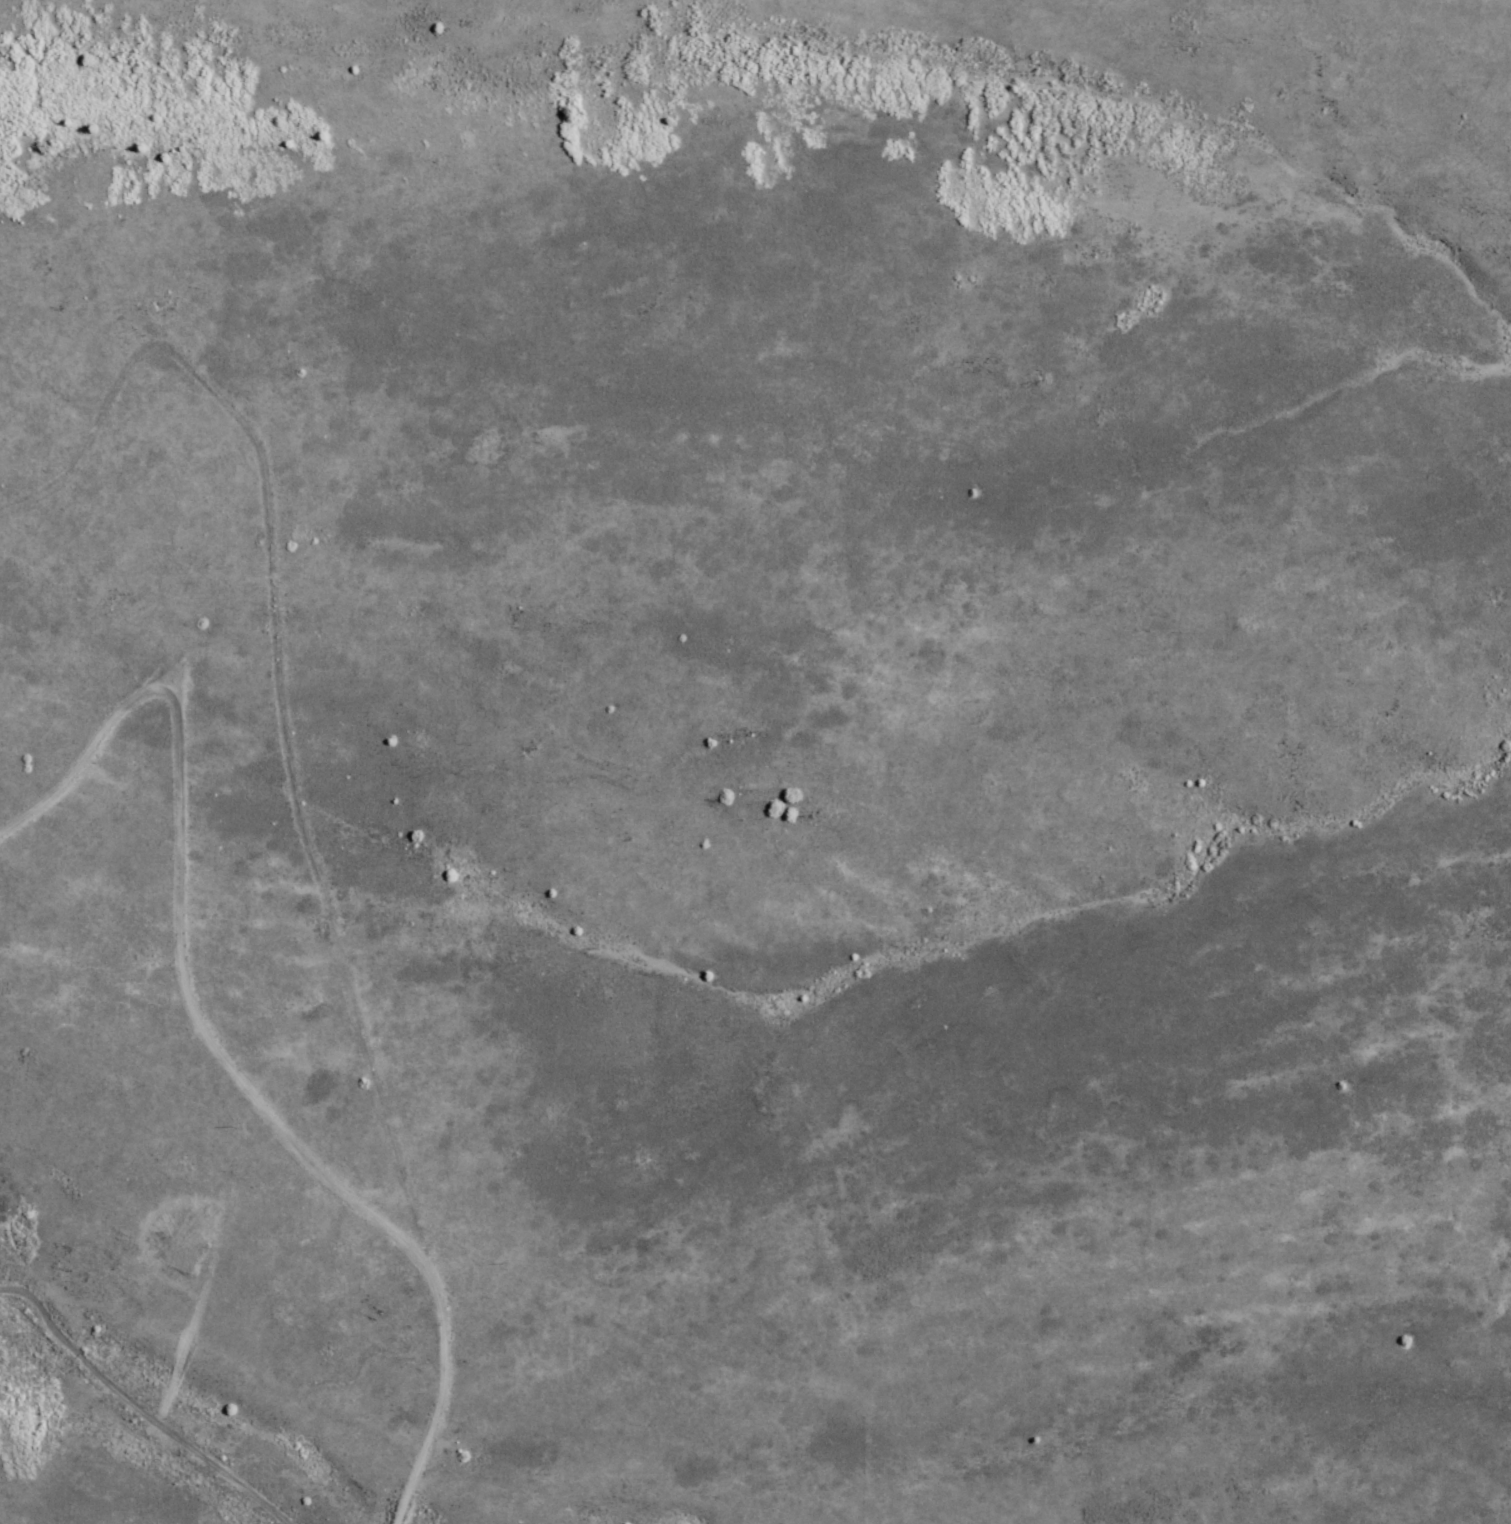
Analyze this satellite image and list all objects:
road: (148, 1414)

